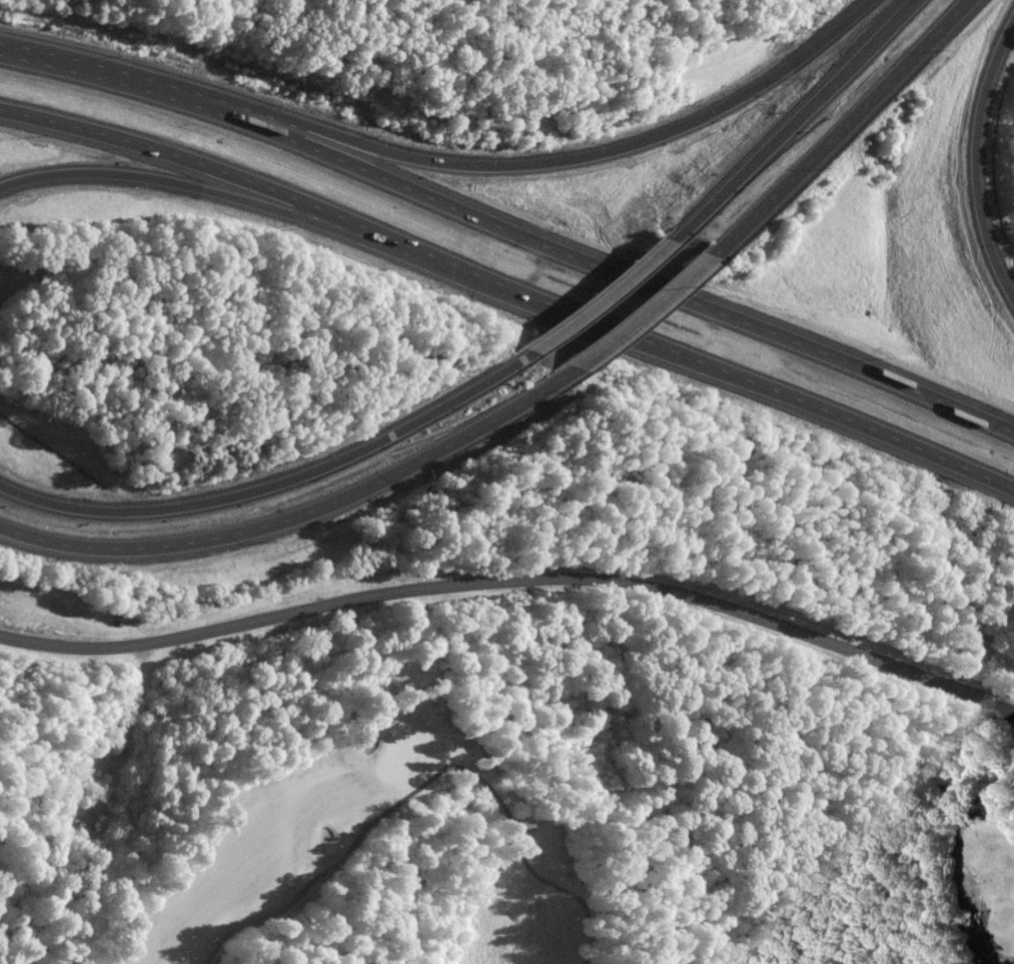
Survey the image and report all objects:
road: (914, 1)
road: (792, 124)
road: (845, 125)
road: (973, 164)
road: (451, 166)
road: (197, 167)
road: (196, 187)
road: (512, 227)
road: (605, 303)
road: (650, 311)
road: (702, 364)
road: (280, 489)
road: (304, 517)
road: (513, 581)
park: (484, 822)
park: (561, 835)

